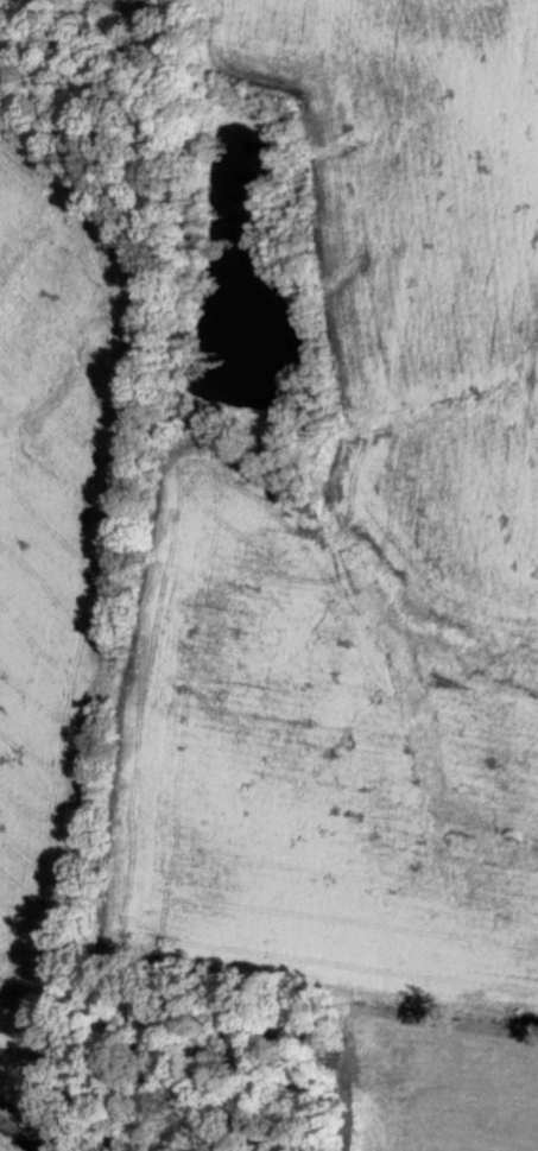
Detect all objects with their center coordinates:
road: (11, 1139)

